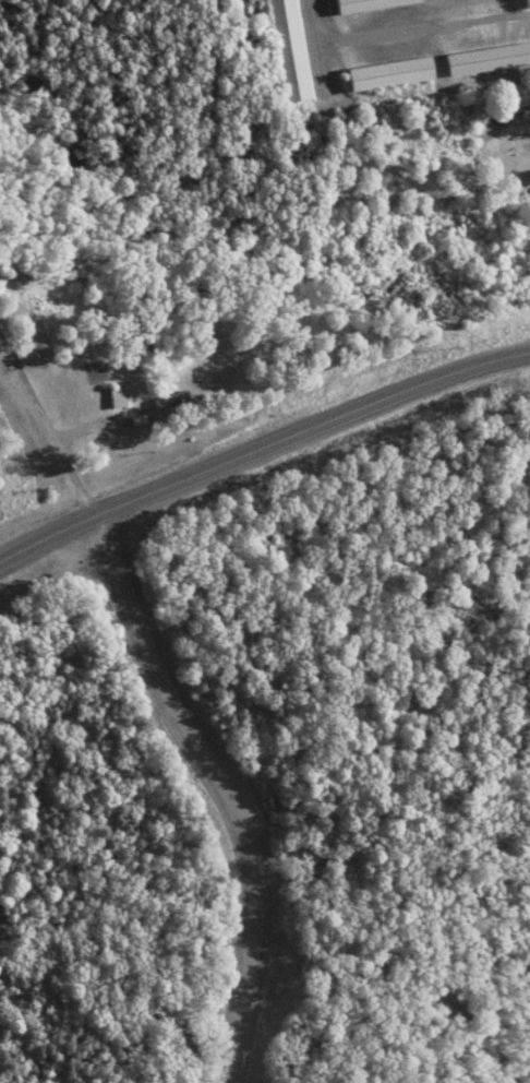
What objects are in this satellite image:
building: (369, 5)
building: (285, 51)
building: (486, 61)
building: (388, 76)
building: (519, 97)
road: (11, 168)
building: (117, 398)
building: (169, 403)
road: (49, 424)
road: (261, 448)
road: (225, 789)

